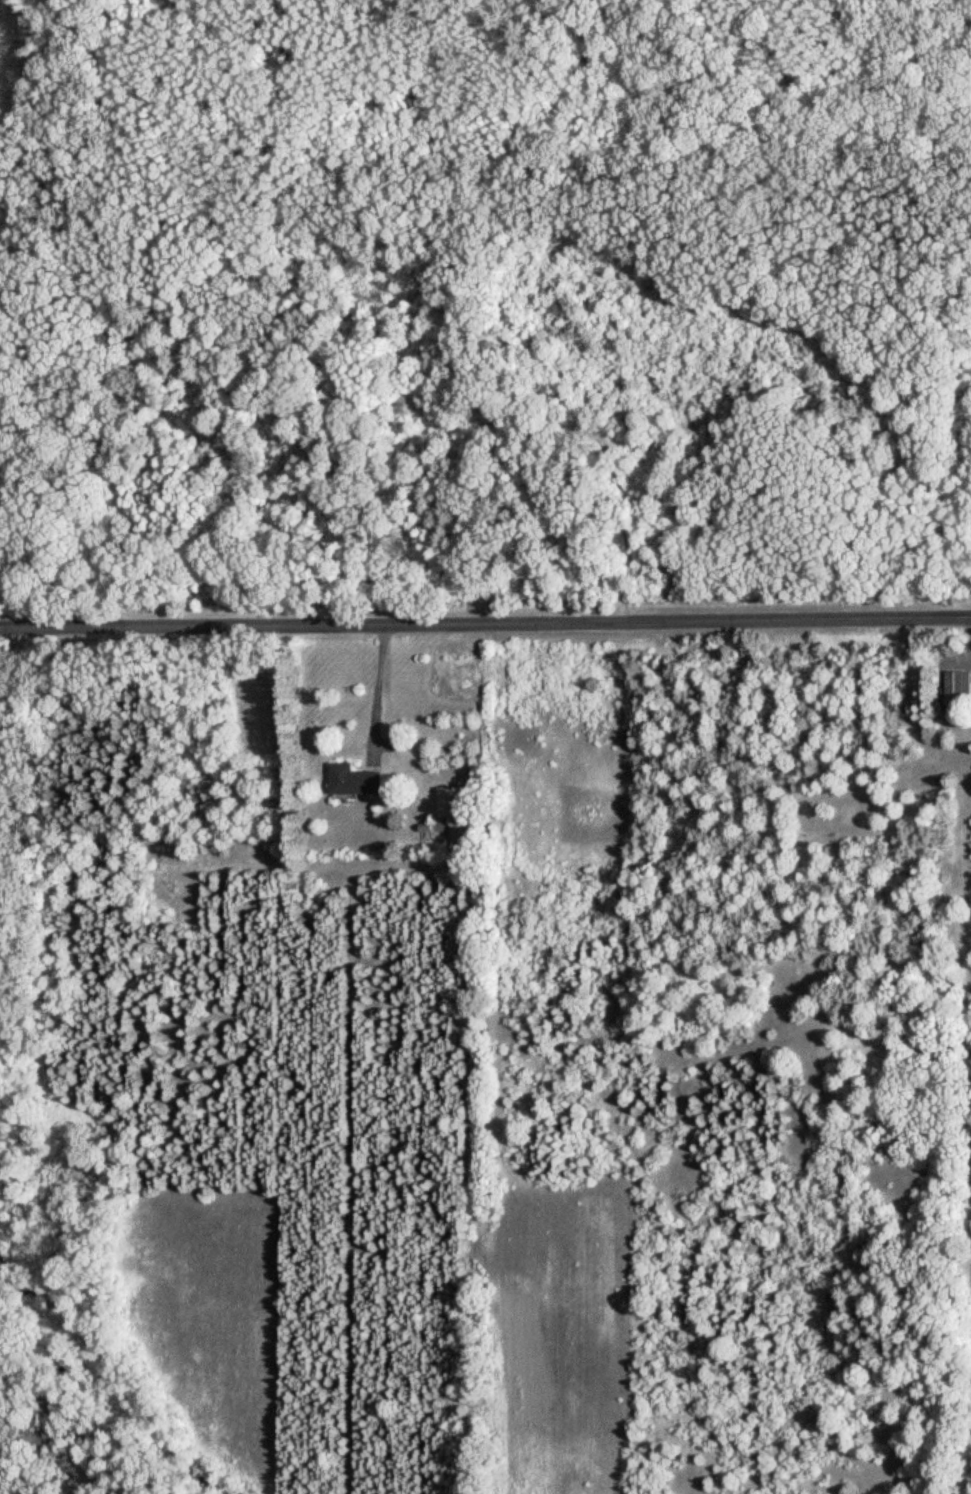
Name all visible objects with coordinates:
parking lot: (584, 428)
road: (625, 529)
road: (485, 619)
building: (958, 692)
building: (354, 783)
building: (451, 804)

